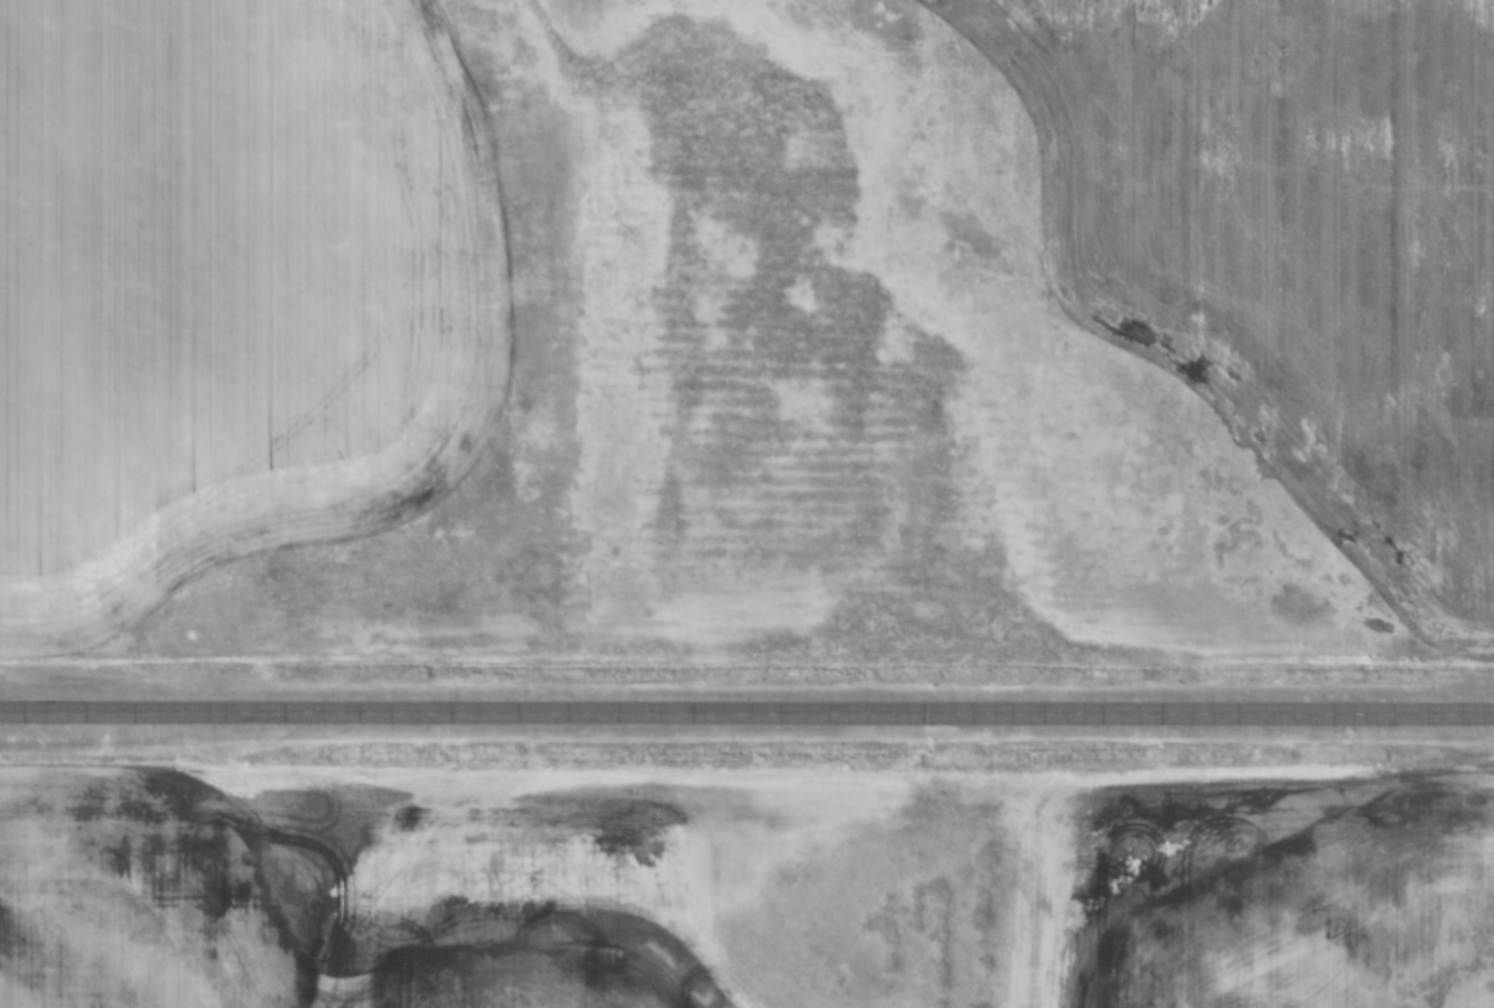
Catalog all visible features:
road: (746, 707)

